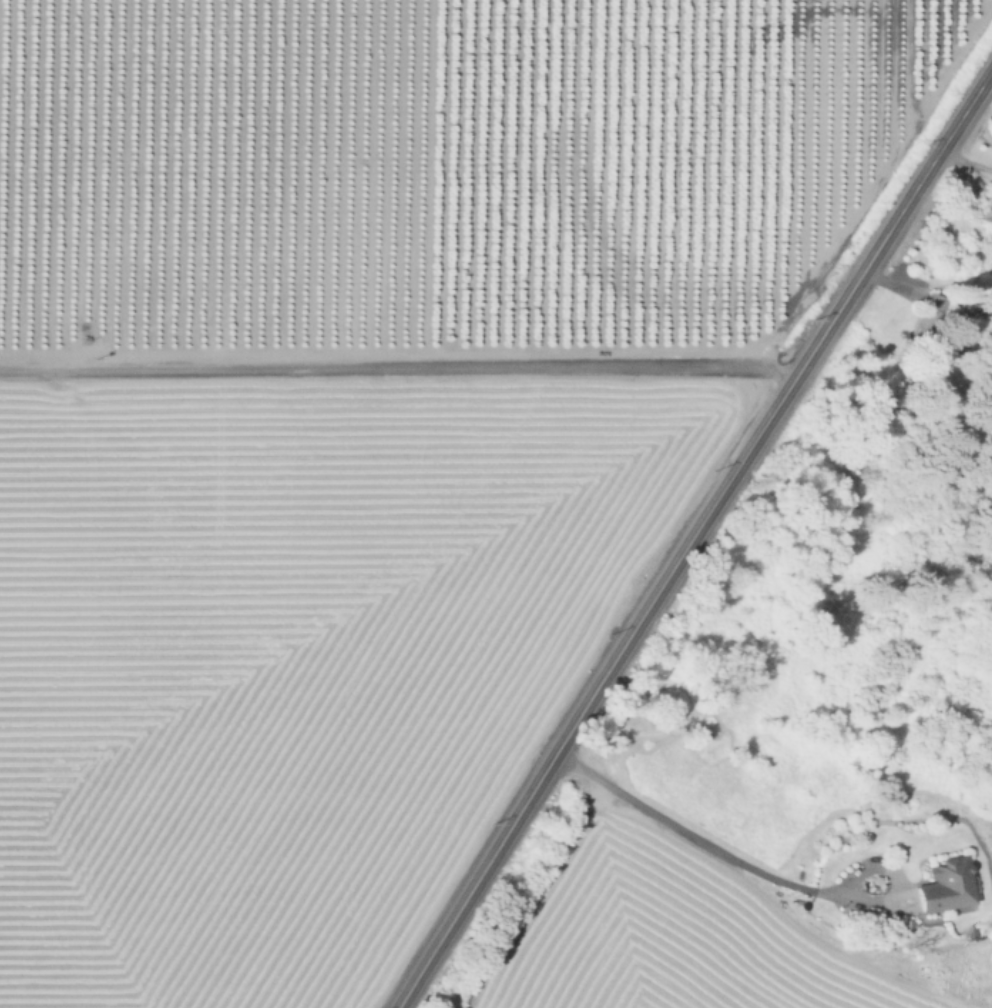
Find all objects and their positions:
road: (967, 158)
building: (985, 214)
road: (895, 222)
building: (931, 322)
crop: (360, 424)
road: (597, 689)
road: (709, 844)
building: (944, 885)
crop: (660, 930)

